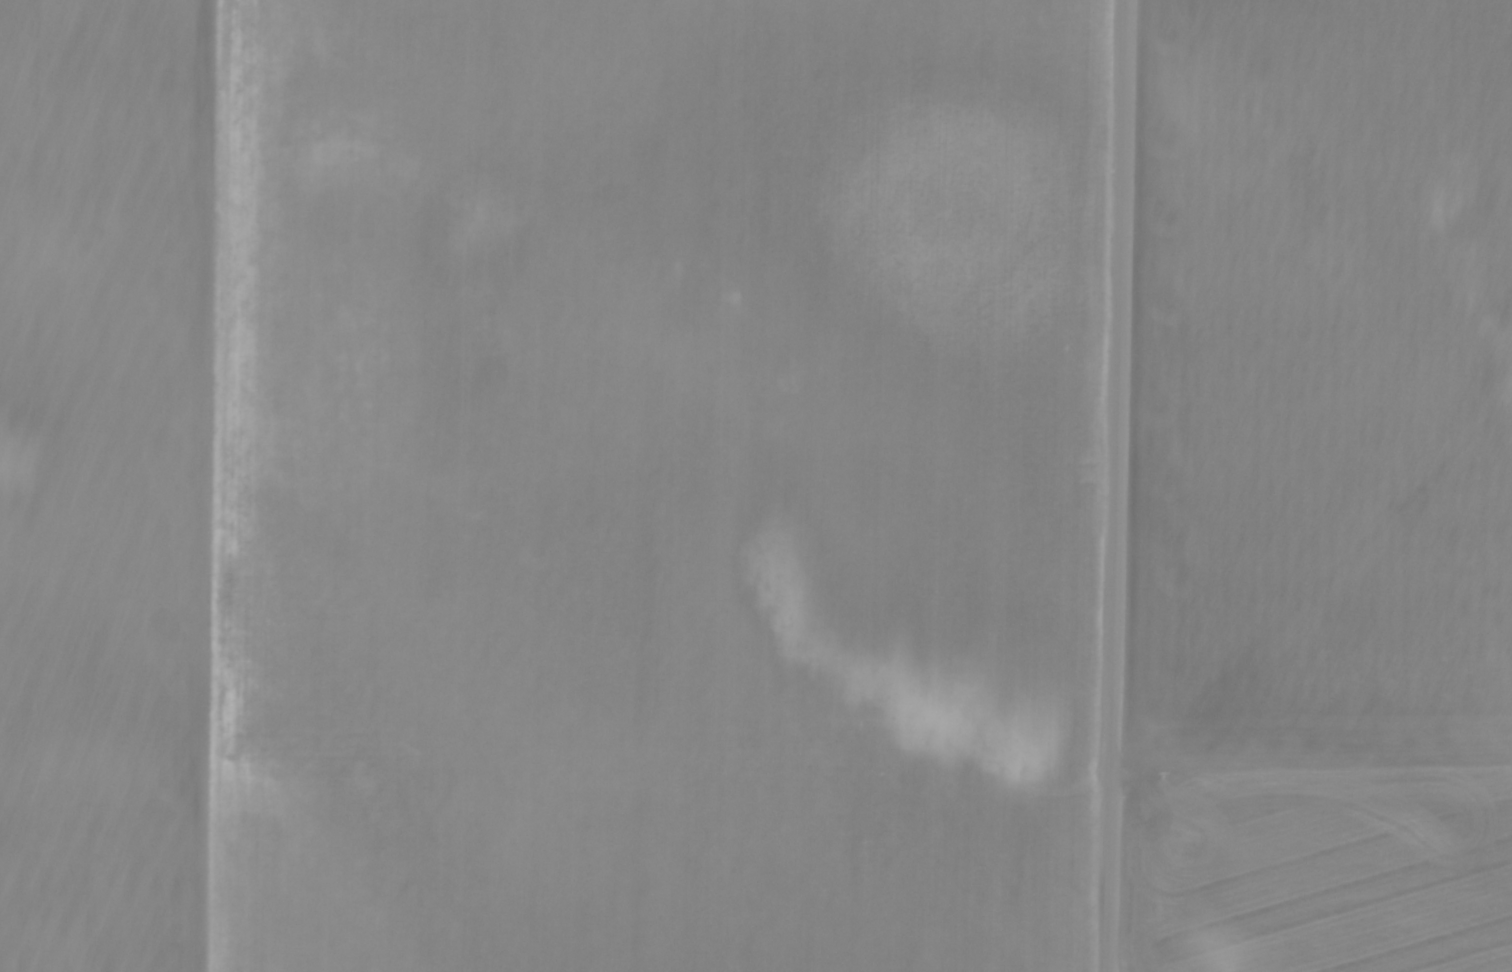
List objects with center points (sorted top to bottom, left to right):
crop: (546, 484)
road: (1112, 486)
crop: (1318, 490)

